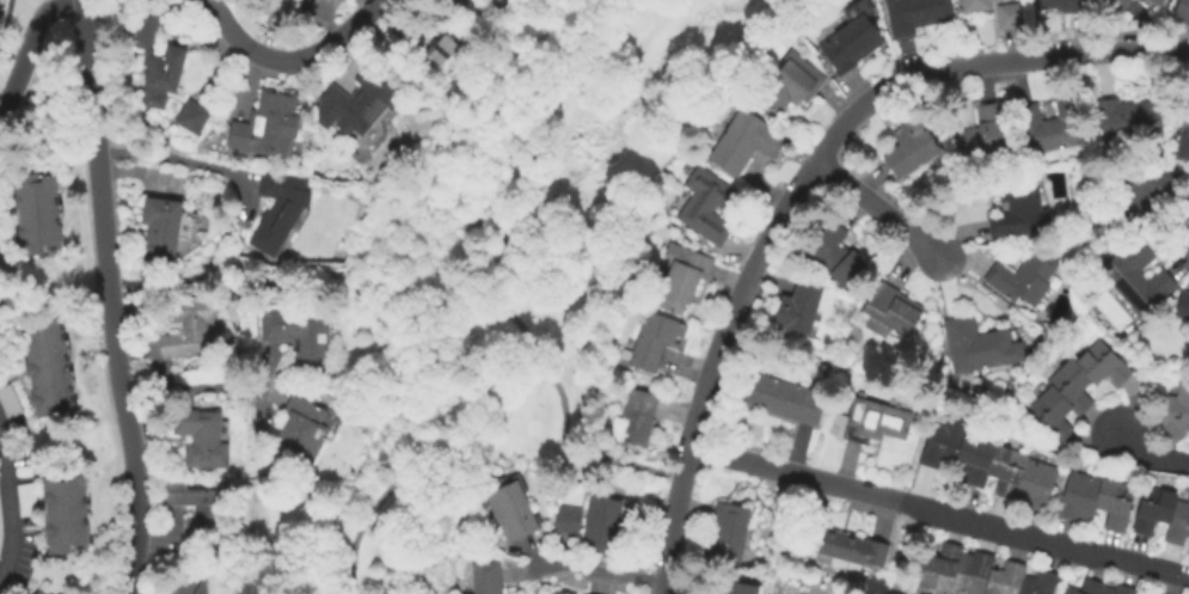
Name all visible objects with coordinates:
building: (258, 1)
building: (1156, 2)
building: (495, 4)
building: (1067, 5)
building: (1115, 5)
building: (286, 6)
building: (975, 6)
building: (1182, 11)
building: (915, 14)
building: (1009, 17)
road: (7, 18)
building: (850, 44)
road: (29, 47)
building: (446, 49)
road: (6, 53)
building: (158, 60)
road: (292, 62)
road: (23, 65)
building: (786, 87)
road: (63, 90)
building: (364, 98)
building: (194, 116)
building: (1126, 118)
building: (268, 123)
building: (1044, 129)
building: (983, 133)
building: (1182, 139)
building: (744, 142)
building: (911, 147)
road: (184, 161)
road: (136, 172)
road: (799, 183)
building: (1140, 194)
building: (709, 206)
building: (1019, 206)
road: (875, 207)
building: (280, 208)
building: (38, 213)
building: (165, 225)
building: (203, 234)
building: (7, 245)
building: (835, 255)
road: (477, 264)
building: (681, 276)
building: (1135, 276)
building: (1023, 278)
road: (306, 281)
road: (110, 298)
building: (1183, 305)
building: (799, 307)
building: (890, 311)
building: (1, 327)
building: (189, 327)
building: (300, 335)
building: (654, 342)
building: (977, 345)
building: (50, 366)
road: (198, 384)
building: (1074, 388)
building: (782, 398)
building: (10, 400)
building: (1175, 412)
building: (637, 417)
building: (874, 422)
building: (300, 429)
road: (403, 434)
building: (202, 437)
road: (1150, 454)
building: (989, 464)
building: (27, 498)
building: (1097, 498)
road: (11, 508)
building: (198, 509)
building: (509, 510)
road: (940, 510)
building: (67, 512)
building: (1163, 514)
building: (568, 521)
building: (1, 523)
building: (601, 523)
building: (728, 534)
building: (852, 549)
road: (909, 550)
road: (600, 572)
building: (980, 574)
building: (486, 577)
building: (180, 580)
building: (13, 587)
building: (208, 588)
building: (736, 588)
building: (1103, 588)
building: (41, 592)
building: (1071, 592)
building: (562, 593)

